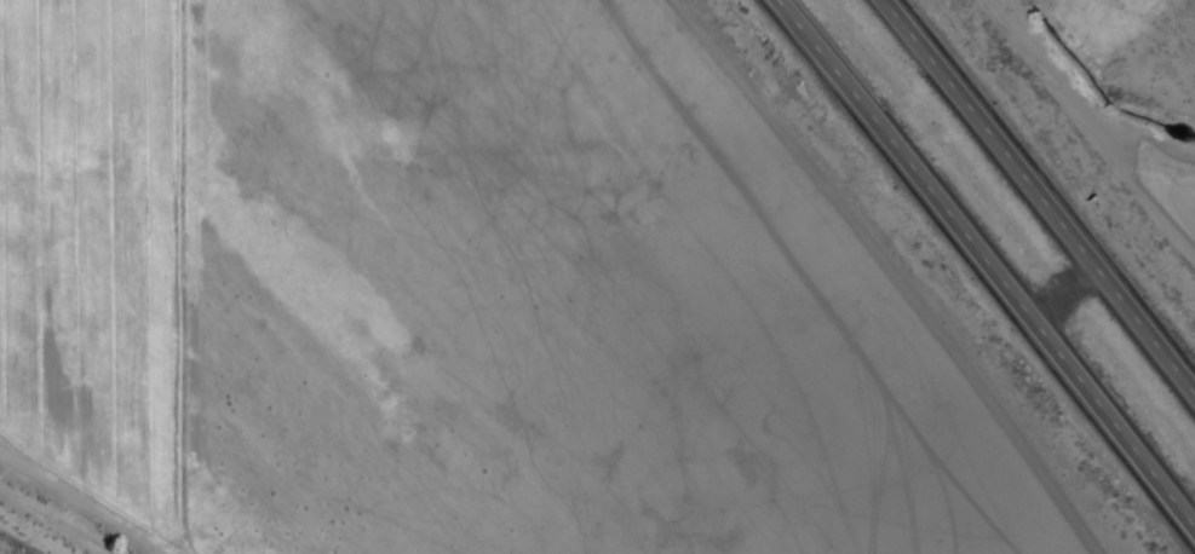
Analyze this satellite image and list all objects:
road: (1040, 192)
road: (998, 259)

